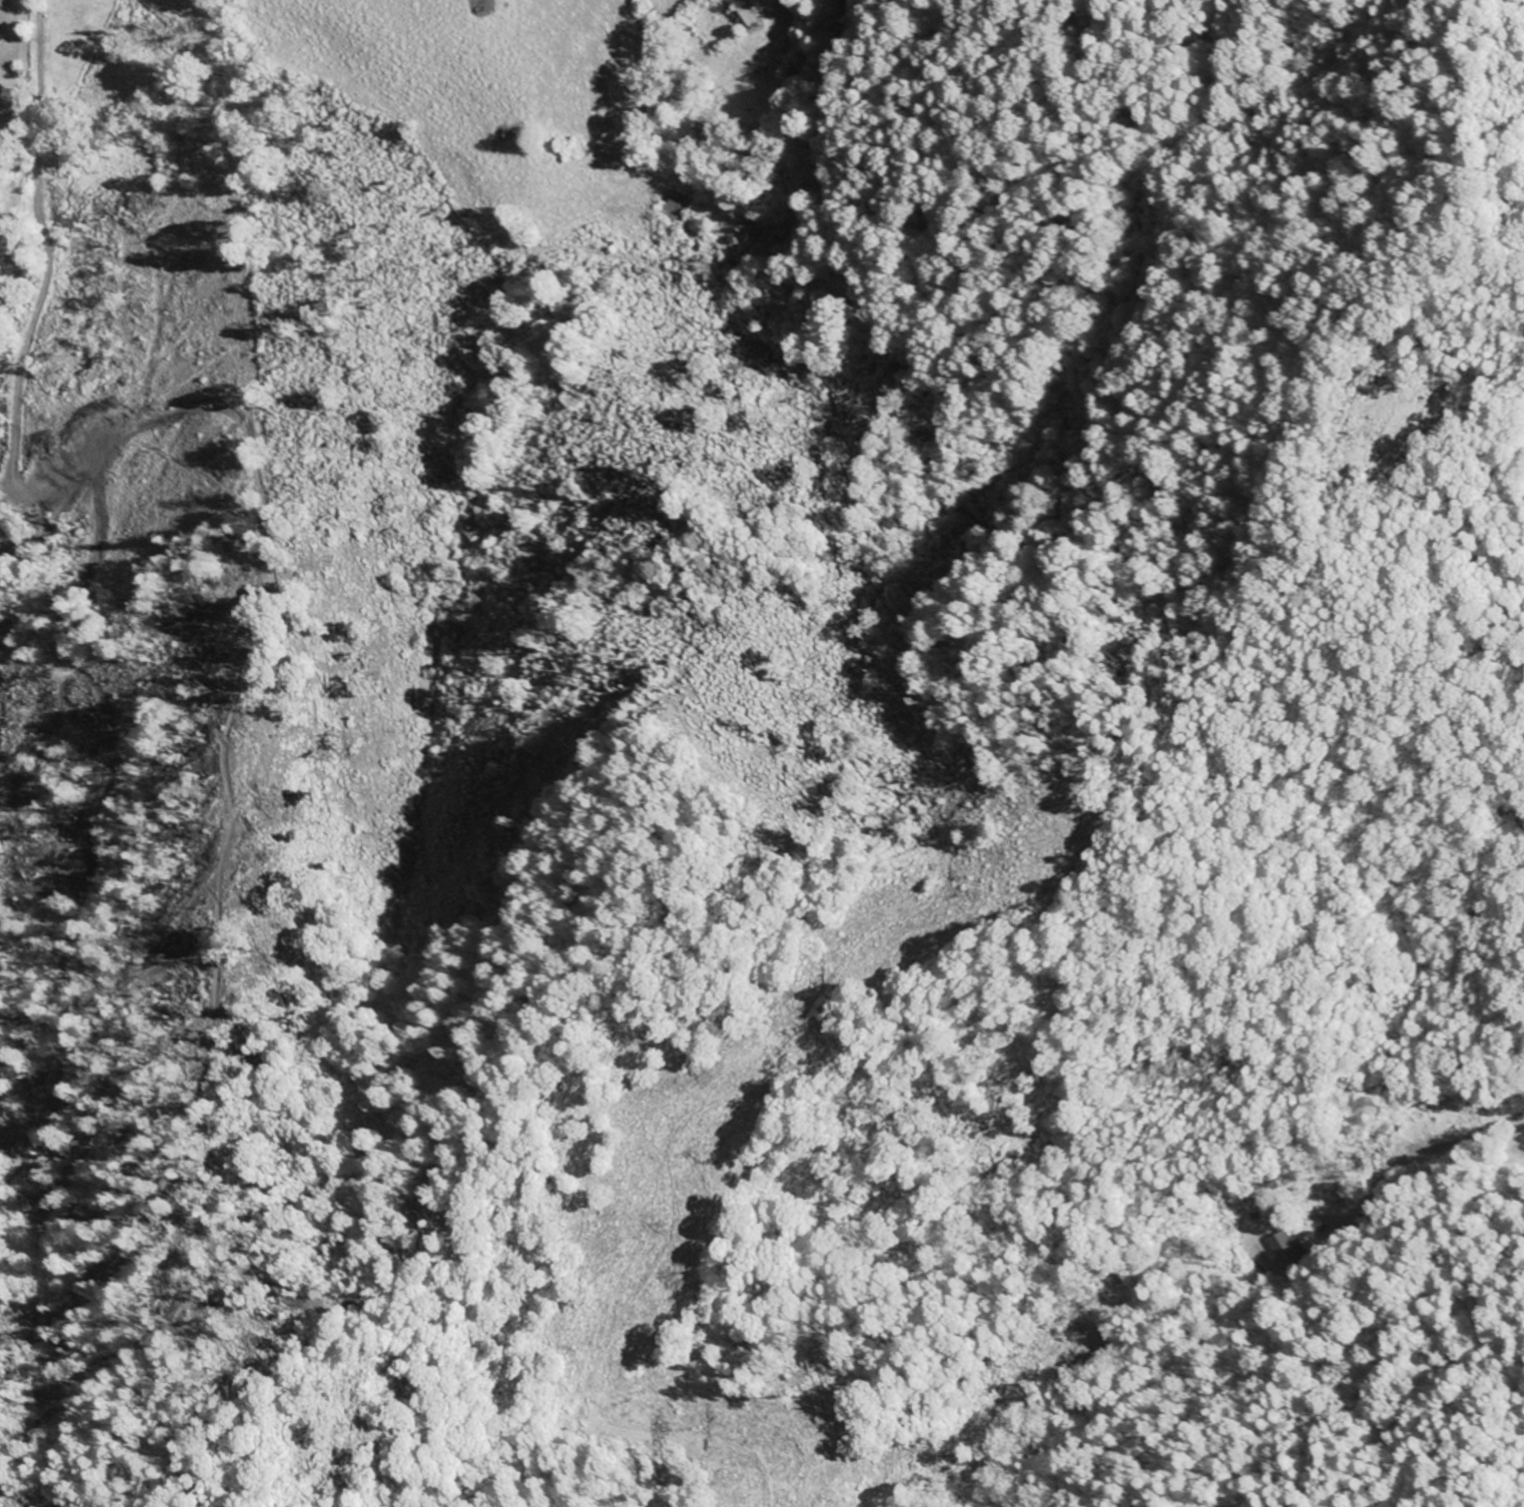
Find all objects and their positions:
building: (752, 13)
building: (1283, 1248)

